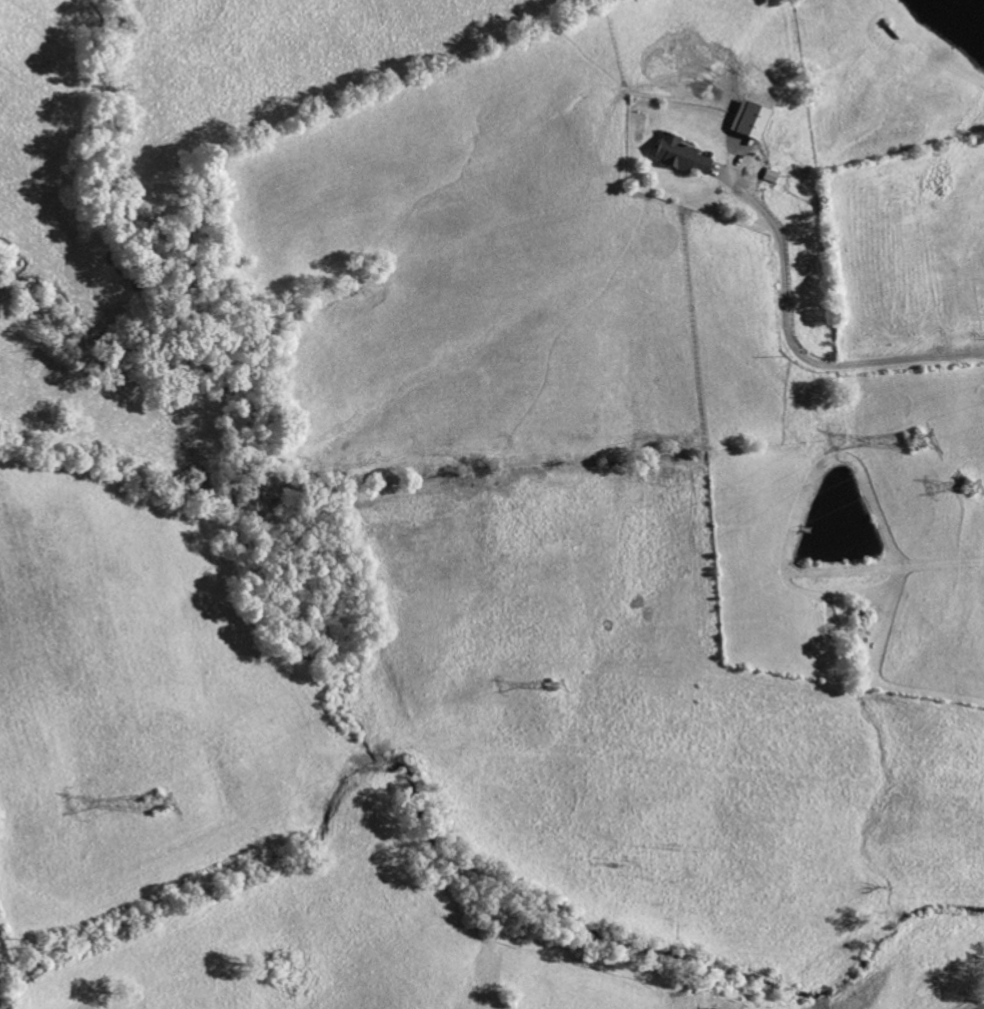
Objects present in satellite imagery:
building: (746, 121)
building: (676, 156)
road: (792, 347)
power tower: (913, 442)
power tower: (148, 802)
road: (983, 1008)

